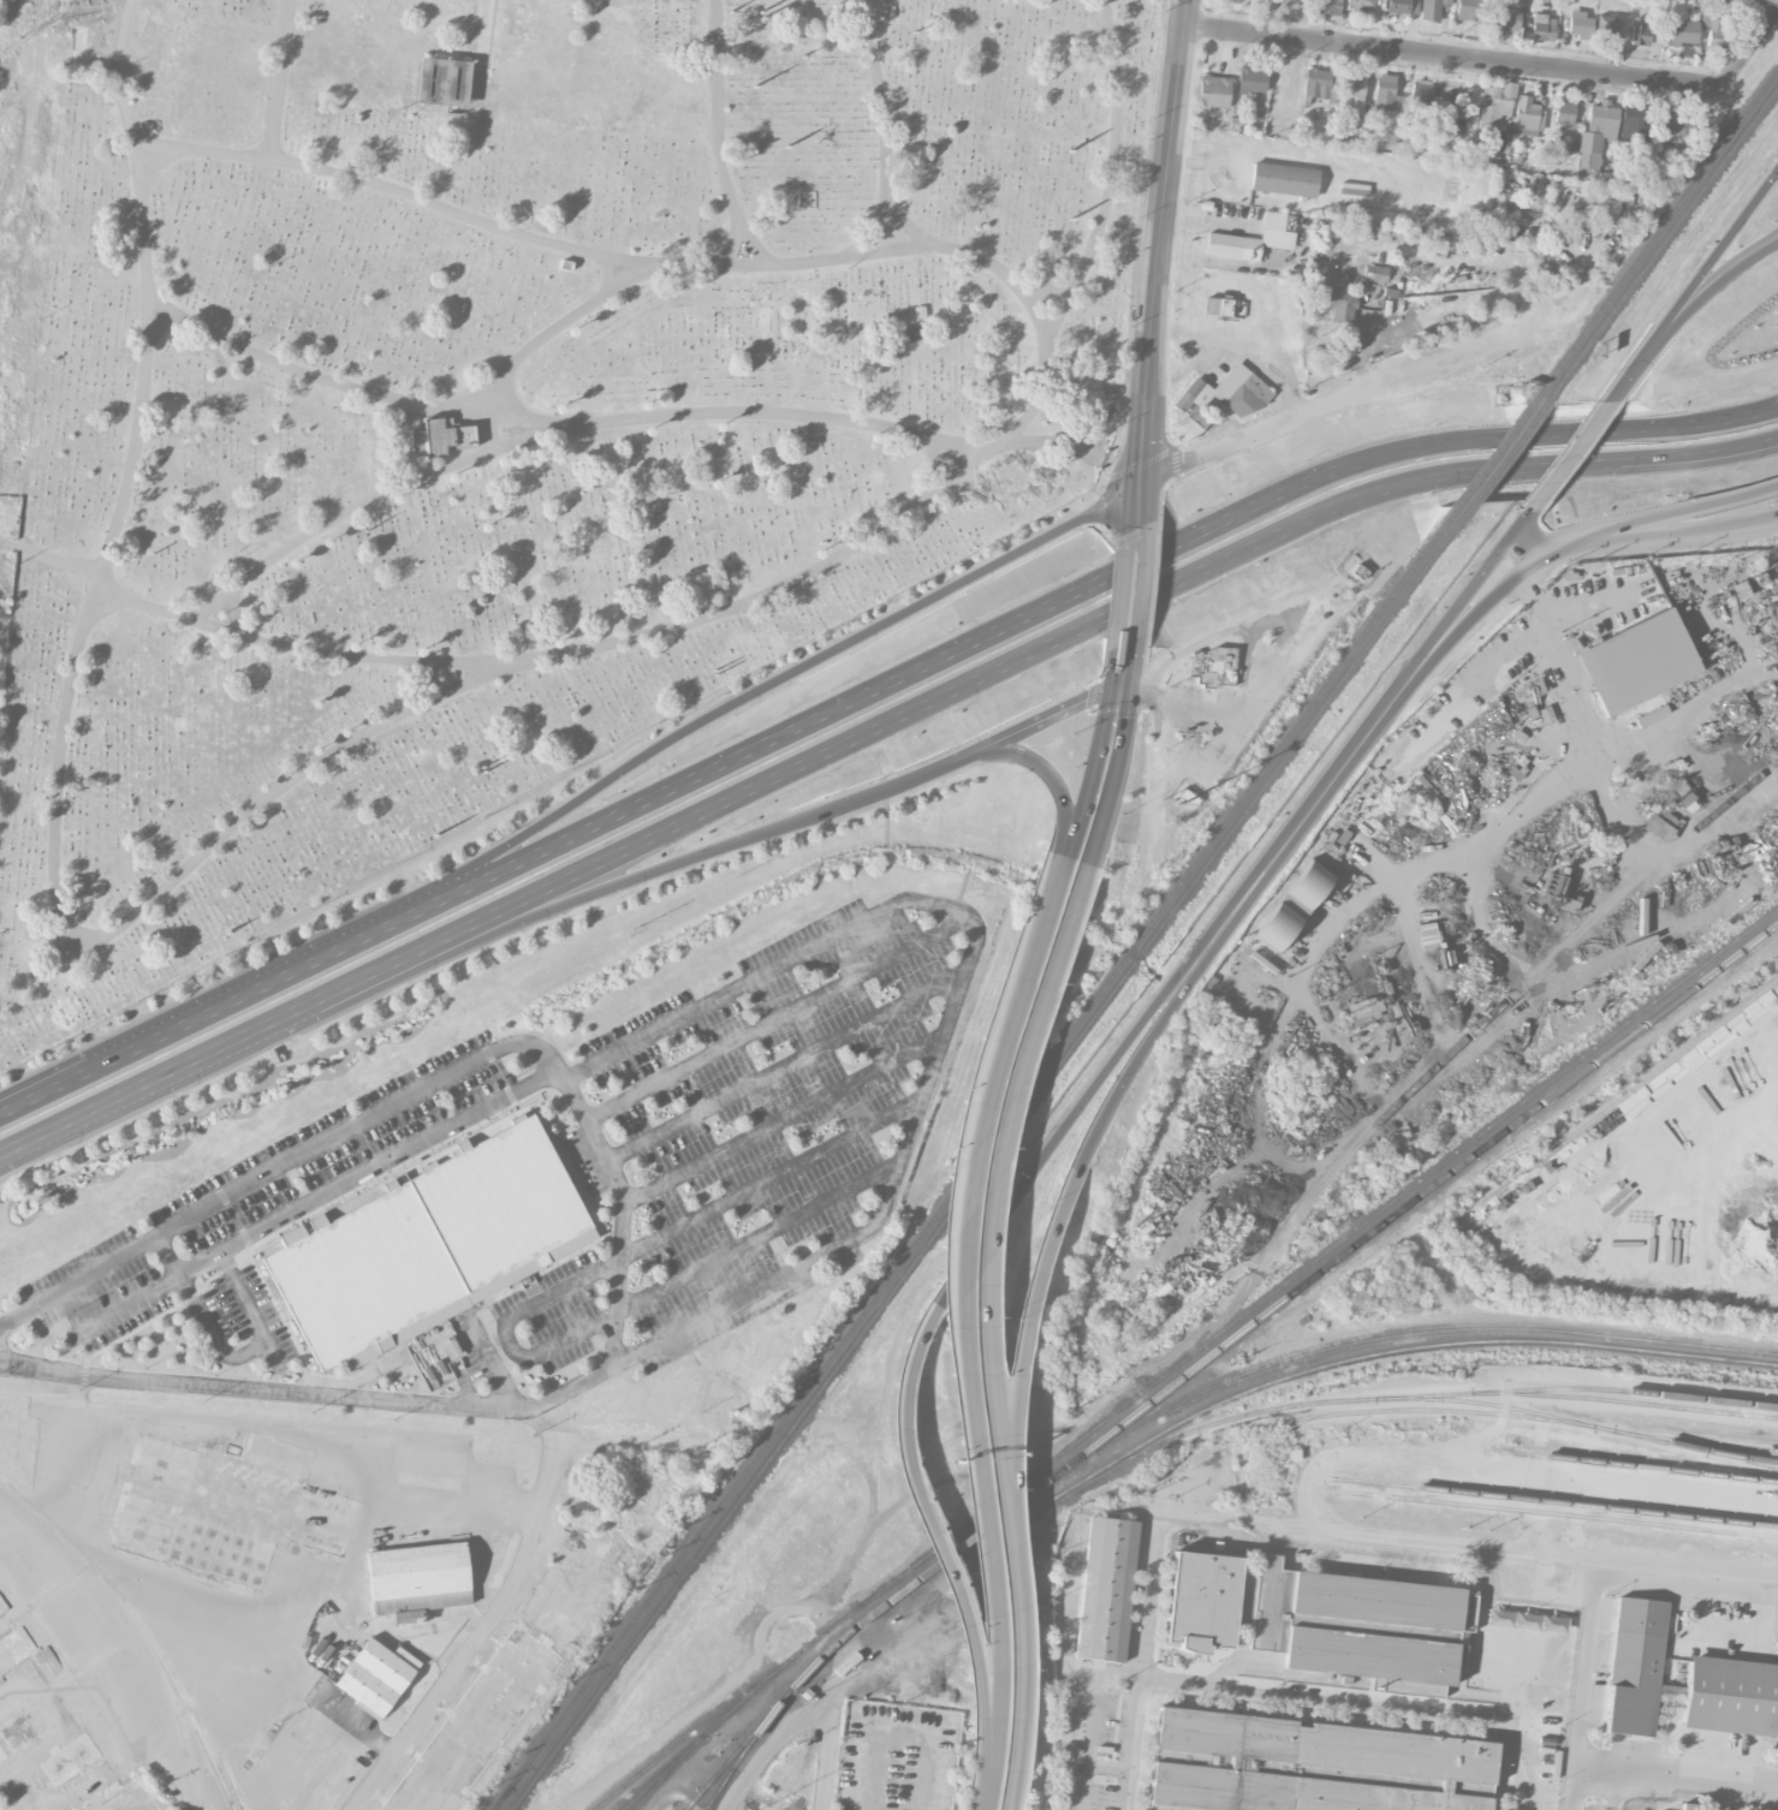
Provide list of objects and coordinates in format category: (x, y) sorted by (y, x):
building: (1288, 4)
building: (1362, 5)
building: (1327, 6)
building: (1402, 8)
building: (1432, 8)
building: (1467, 10)
building: (1505, 17)
building: (1580, 24)
building: (1541, 26)
building: (1605, 29)
building: (1681, 31)
building: (1640, 34)
building: (1718, 34)
road: (1753, 44)
building: (1688, 50)
road: (1457, 55)
building: (444, 81)
building: (1251, 81)
building: (1320, 84)
building: (1356, 85)
building: (1214, 91)
building: (1387, 94)
building: (1421, 99)
building: (1495, 106)
building: (1564, 112)
building: (1526, 113)
building: (1630, 121)
building: (1676, 129)
building: (1595, 137)
building: (1284, 179)
building: (1605, 203)
railway: (1655, 232)
building: (1254, 238)
road: (1158, 240)
railway: (1661, 242)
road: (1711, 262)
building: (1382, 278)
road: (1705, 291)
building: (1339, 304)
building: (1220, 306)
road: (1625, 377)
road: (1357, 391)
building: (1219, 398)
park: (505, 407)
building: (398, 419)
building: (441, 436)
railway: (1494, 451)
railway: (1506, 452)
road: (1569, 454)
traffic signals: (1142, 482)
road: (1734, 496)
road: (1343, 504)
road: (1146, 508)
road: (1132, 512)
road: (1637, 523)
road: (1528, 542)
road: (1523, 565)
road: (1116, 573)
road: (1141, 580)
road: (1120, 589)
road: (1437, 633)
traffic signals: (1113, 661)
building: (1637, 661)
road: (808, 663)
building: (1213, 666)
road: (1120, 691)
traffic signals: (1142, 696)
traffic signals: (1086, 698)
road: (1184, 705)
traffic signals: (1128, 715)
road: (1042, 719)
road: (1230, 727)
road: (1607, 738)
road: (1122, 745)
road: (1100, 746)
road: (1051, 776)
road: (1316, 794)
building: (1683, 797)
road: (696, 823)
building: (1657, 828)
road: (712, 852)
building: (1292, 905)
road: (1237, 911)
road: (402, 916)
road: (957, 996)
building: (1364, 1011)
road: (778, 1014)
road: (201, 1016)
road: (1128, 1047)
railway: (1450, 1048)
road: (222, 1053)
road: (786, 1068)
road: (44, 1090)
road: (416, 1092)
railway: (1623, 1097)
road: (783, 1119)
railway: (983, 1144)
railway: (989, 1157)
road: (369, 1171)
road: (772, 1174)
railway: (1417, 1193)
road: (988, 1199)
road: (953, 1227)
road: (757, 1240)
building: (430, 1243)
road: (1045, 1254)
road: (149, 1291)
railway: (1230, 1323)
road: (509, 1328)
road: (250, 1351)
railway: (1297, 1357)
road: (498, 1365)
railway: (1313, 1367)
railway: (1630, 1391)
road: (310, 1392)
railway: (1480, 1401)
railway: (1630, 1401)
railway: (1274, 1407)
road: (203, 1417)
railway: (1533, 1417)
railway: (1706, 1441)
road: (905, 1442)
railway: (1748, 1457)
railway: (1645, 1465)
railway: (1554, 1501)
building: (228, 1507)
railway: (1559, 1513)
road: (1462, 1541)
railway: (946, 1555)
road: (346, 1574)
building: (417, 1578)
road: (1011, 1579)
building: (1106, 1589)
parking lot: (1146, 1590)
road: (1776, 1595)
road: (1655, 1596)
building: (1207, 1600)
road: (1148, 1601)
railway: (143, 1625)
road: (493, 1626)
building: (1362, 1626)
road: (130, 1630)
road: (1141, 1641)
building: (16, 1649)
road: (1158, 1660)
road: (1238, 1660)
parking lot: (1595, 1660)
building: (1636, 1666)
building: (376, 1675)
road: (1581, 1681)
railway: (786, 1692)
parking lot: (1388, 1695)
building: (1731, 1695)
road: (1368, 1704)
road: (1304, 1708)
road: (1019, 1710)
road: (1669, 1710)
road: (998, 1713)
road: (1602, 1716)
road: (981, 1717)
road: (1675, 1721)
railway: (704, 1722)
building: (480, 1723)
building: (17, 1732)
road: (1132, 1743)
road: (1625, 1746)
road: (335, 1748)
road: (833, 1749)
parking lot: (1634, 1749)
road: (1087, 1752)
building: (2, 1754)
parking lot: (1098, 1754)
building: (70, 1760)
railway: (736, 1761)
road: (1108, 1764)
road: (1676, 1764)
building: (1309, 1766)
road: (115, 1770)
railway: (654, 1779)
railway: (660, 1780)
parking lot: (1535, 1781)
road: (1617, 1784)
parking lot: (1702, 1785)
park: (132, 1794)
railway: (703, 1796)
railway: (703, 1796)
railway: (501, 1797)
railway: (503, 1797)
building: (1690, 1805)
building: (0, 1809)

